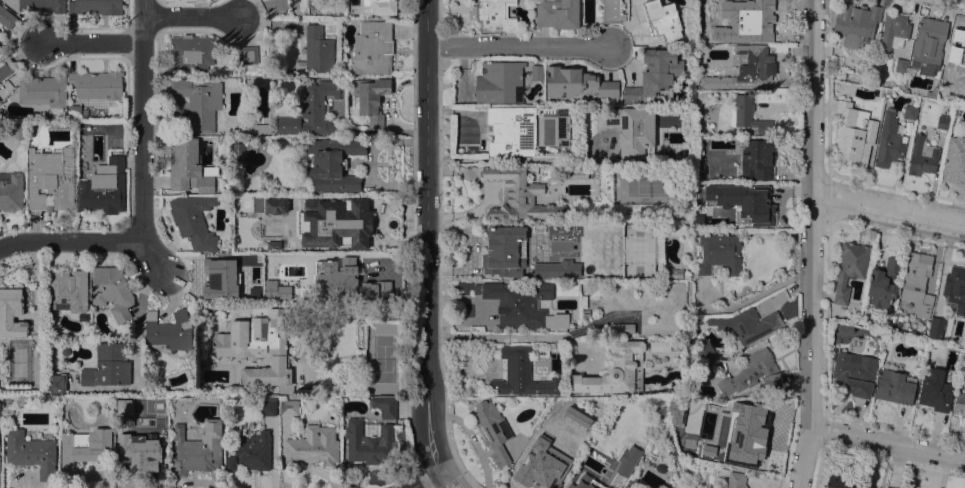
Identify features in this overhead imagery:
road: (946, 3)
building: (282, 4)
building: (319, 4)
building: (43, 5)
building: (96, 6)
building: (380, 7)
building: (613, 11)
building: (558, 13)
building: (495, 15)
building: (7, 17)
road: (189, 17)
building: (663, 19)
building: (749, 21)
building: (856, 23)
building: (894, 31)
road: (90, 41)
road: (517, 44)
building: (929, 44)
building: (373, 48)
building: (317, 50)
building: (956, 50)
building: (191, 54)
building: (248, 54)
building: (5, 65)
building: (901, 65)
building: (744, 70)
building: (537, 72)
building: (835, 73)
building: (655, 75)
building: (577, 82)
building: (500, 83)
building: (97, 84)
building: (906, 89)
building: (44, 90)
building: (932, 92)
building: (372, 98)
building: (0, 102)
building: (199, 102)
building: (312, 110)
building: (74, 111)
building: (910, 111)
building: (748, 114)
road: (142, 120)
building: (943, 122)
building: (59, 125)
building: (256, 127)
building: (17, 129)
building: (632, 129)
building: (512, 130)
building: (563, 131)
building: (853, 135)
building: (890, 139)
building: (237, 152)
road: (827, 155)
building: (83, 156)
building: (922, 156)
road: (495, 159)
building: (758, 159)
building: (955, 161)
building: (333, 164)
building: (189, 167)
building: (578, 174)
building: (51, 179)
building: (104, 189)
building: (11, 191)
building: (519, 195)
building: (743, 202)
building: (262, 206)
road: (890, 207)
building: (337, 213)
building: (707, 218)
building: (726, 218)
building: (194, 220)
road: (427, 236)
road: (91, 241)
building: (238, 241)
road: (814, 244)
building: (505, 252)
building: (720, 253)
building: (256, 266)
building: (557, 269)
building: (851, 269)
building: (340, 271)
building: (675, 273)
building: (219, 279)
building: (883, 283)
building: (918, 283)
building: (286, 284)
building: (385, 287)
building: (955, 288)
building: (68, 290)
building: (112, 291)
building: (522, 304)
road: (139, 312)
building: (11, 313)
building: (585, 313)
building: (746, 326)
building: (477, 328)
building: (936, 328)
building: (169, 330)
building: (879, 333)
road: (506, 335)
building: (666, 345)
building: (260, 348)
building: (65, 351)
building: (705, 353)
building: (833, 353)
building: (108, 366)
building: (616, 370)
building: (37, 371)
building: (750, 371)
building: (855, 373)
building: (522, 374)
building: (56, 382)
building: (895, 386)
building: (935, 390)
building: (7, 398)
building: (959, 403)
building: (385, 405)
building: (288, 406)
building: (269, 408)
building: (593, 429)
building: (493, 430)
building: (581, 434)
building: (368, 440)
building: (753, 440)
building: (163, 442)
road: (886, 444)
building: (313, 446)
building: (198, 448)
building: (83, 450)
building: (31, 452)
building: (251, 452)
building: (162, 455)
building: (628, 460)
building: (136, 462)
building: (537, 469)
building: (684, 469)
road: (426, 480)
road: (447, 480)
building: (736, 480)
building: (586, 482)
building: (841, 482)
building: (633, 483)
building: (870, 487)

